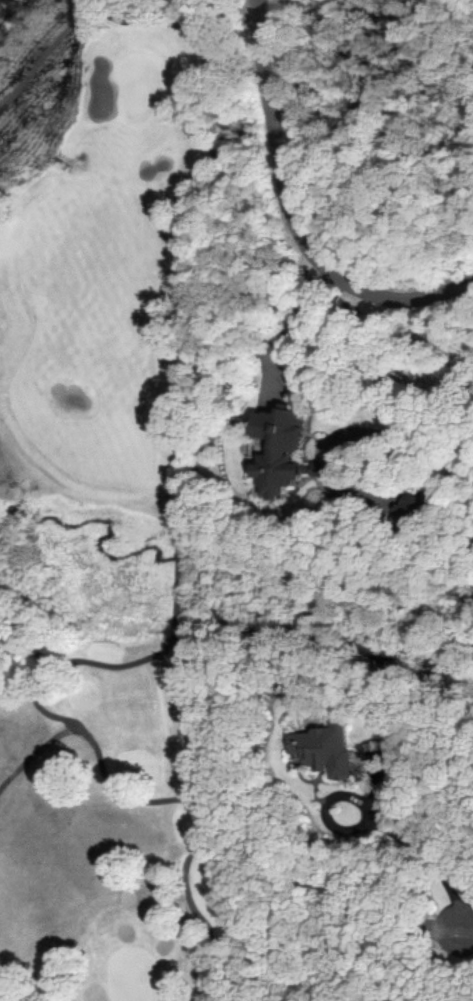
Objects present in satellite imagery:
road: (290, 218)
road: (278, 319)
building: (276, 447)
road: (432, 466)
road: (181, 501)
building: (412, 506)
park: (122, 514)
road: (36, 748)
building: (321, 748)
road: (399, 845)
road: (463, 929)

